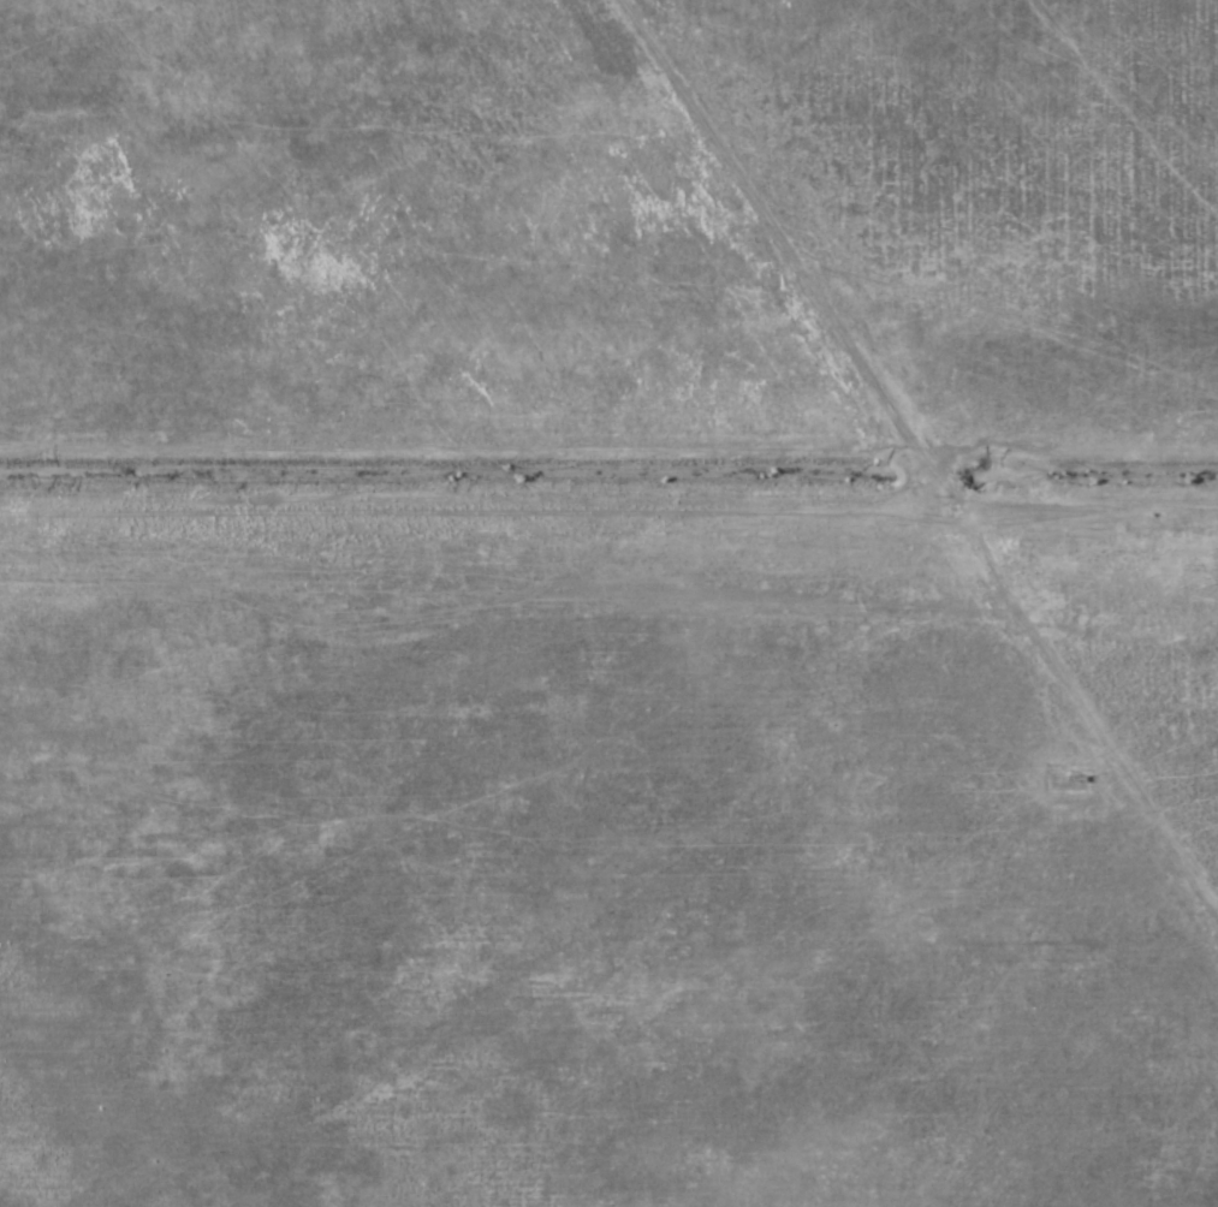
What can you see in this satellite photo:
road: (927, 433)

